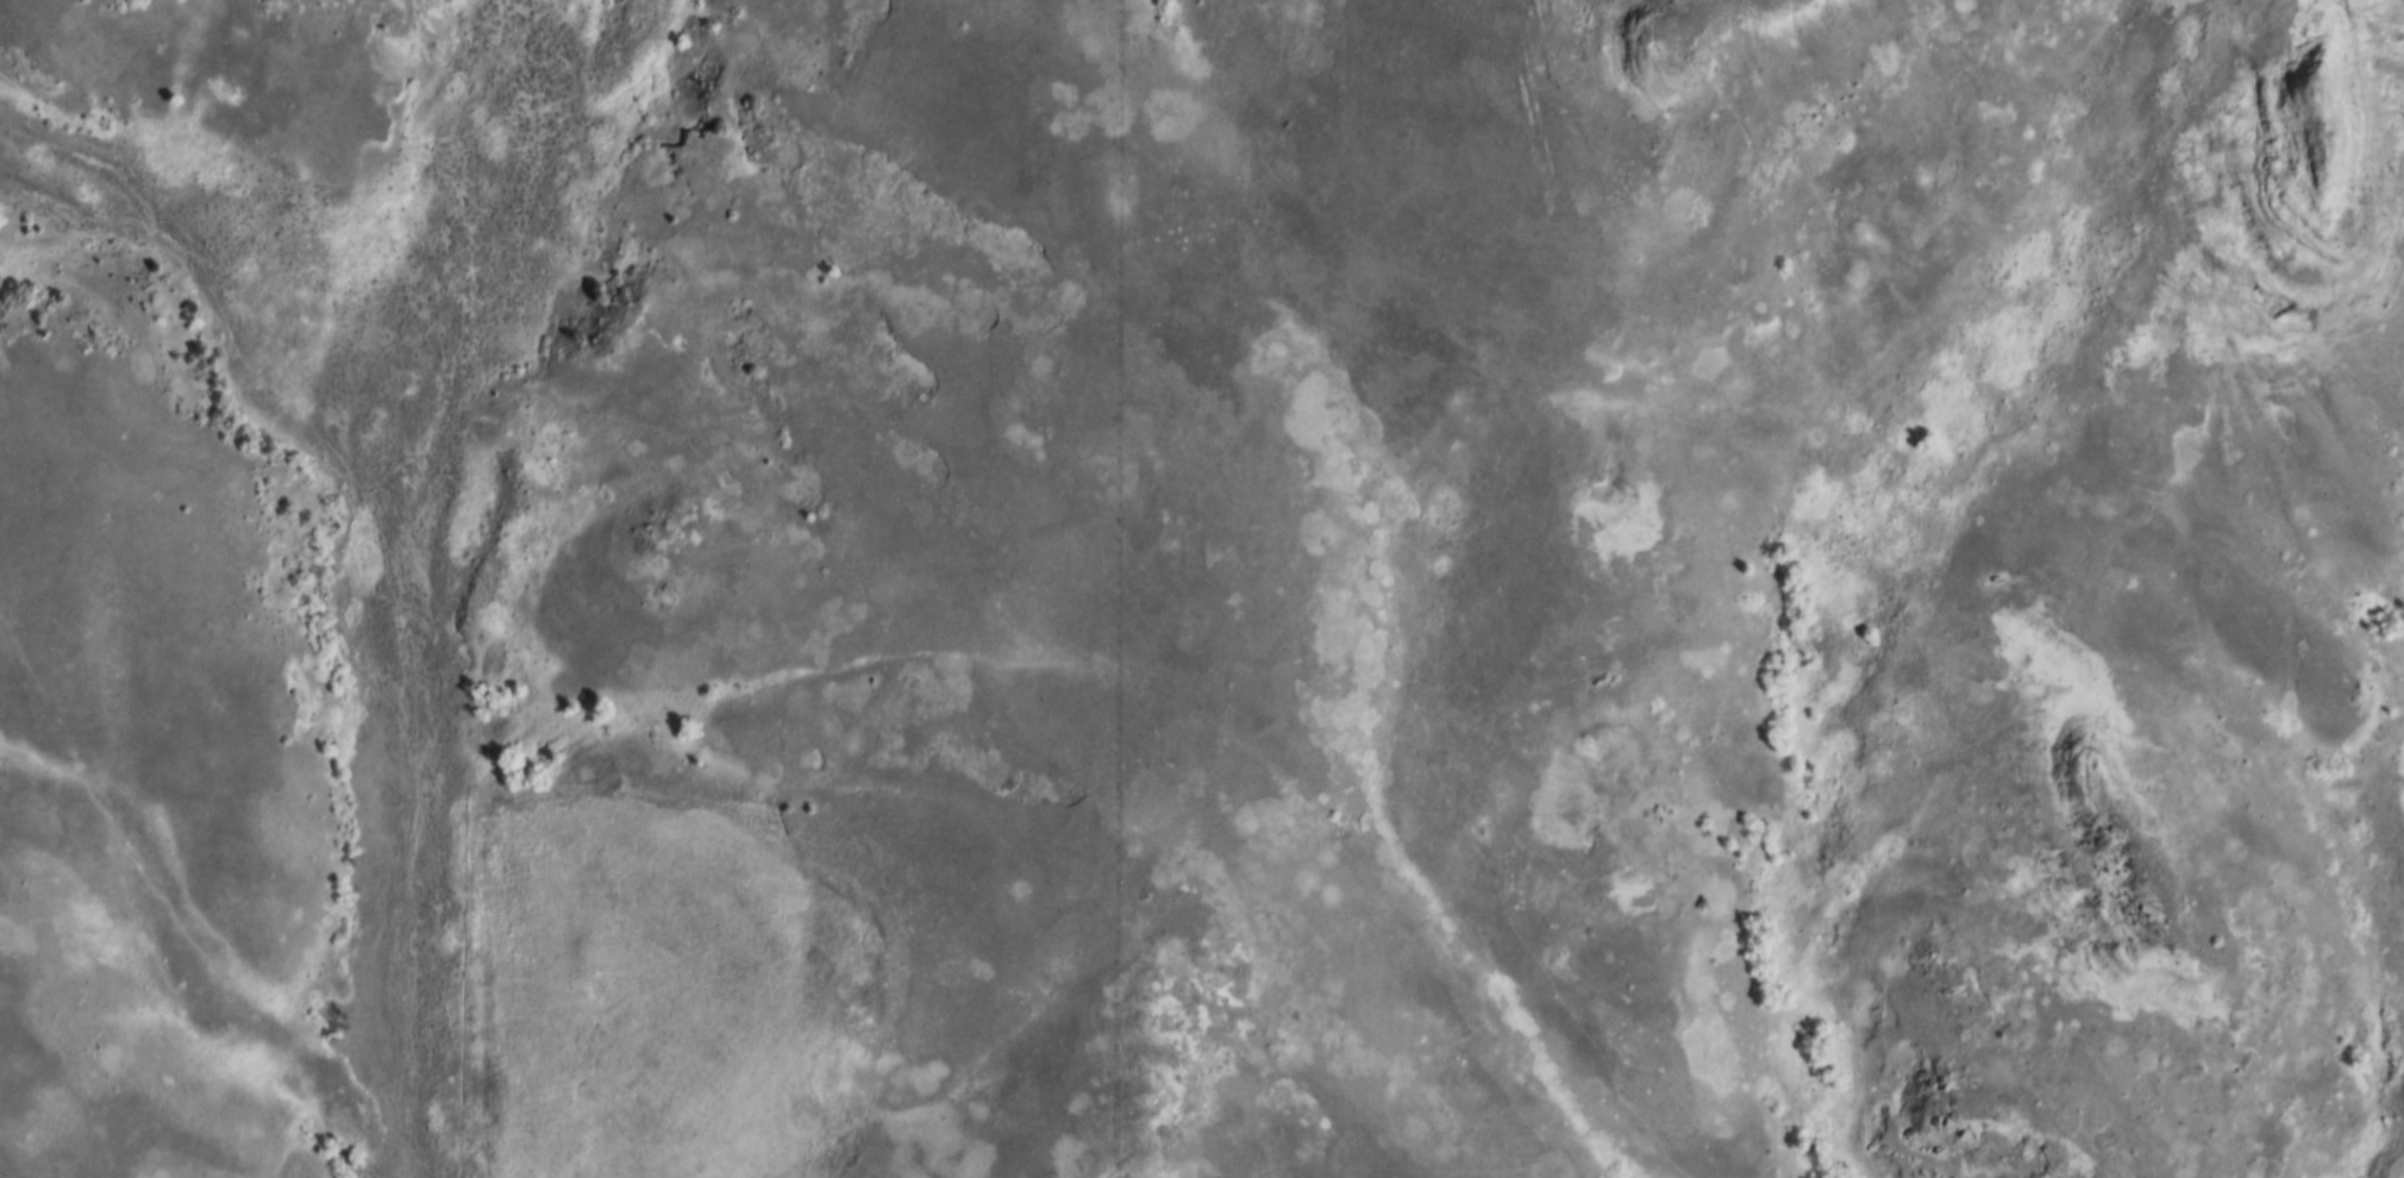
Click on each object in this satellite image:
road: (628, 950)
road: (712, 1151)

